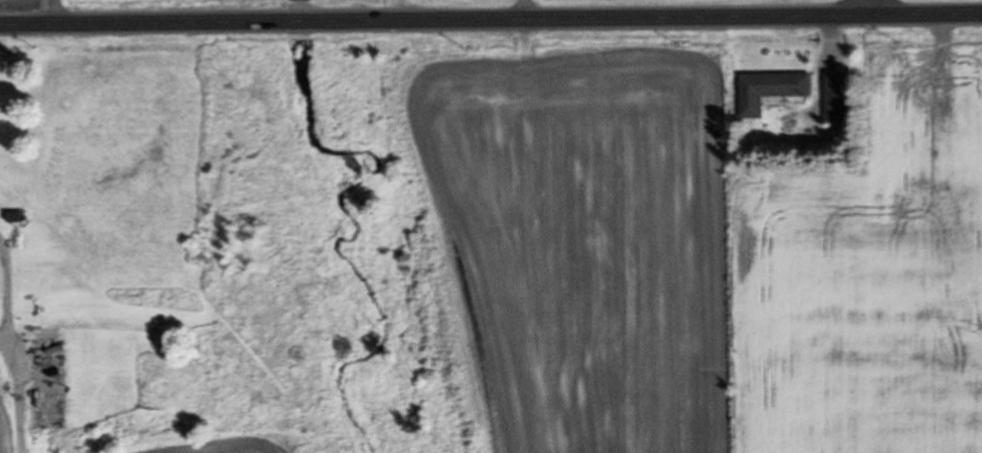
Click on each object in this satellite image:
park: (703, 2)
park: (91, 5)
road: (871, 6)
road: (491, 19)
building: (781, 83)
building: (840, 96)
building: (54, 381)

